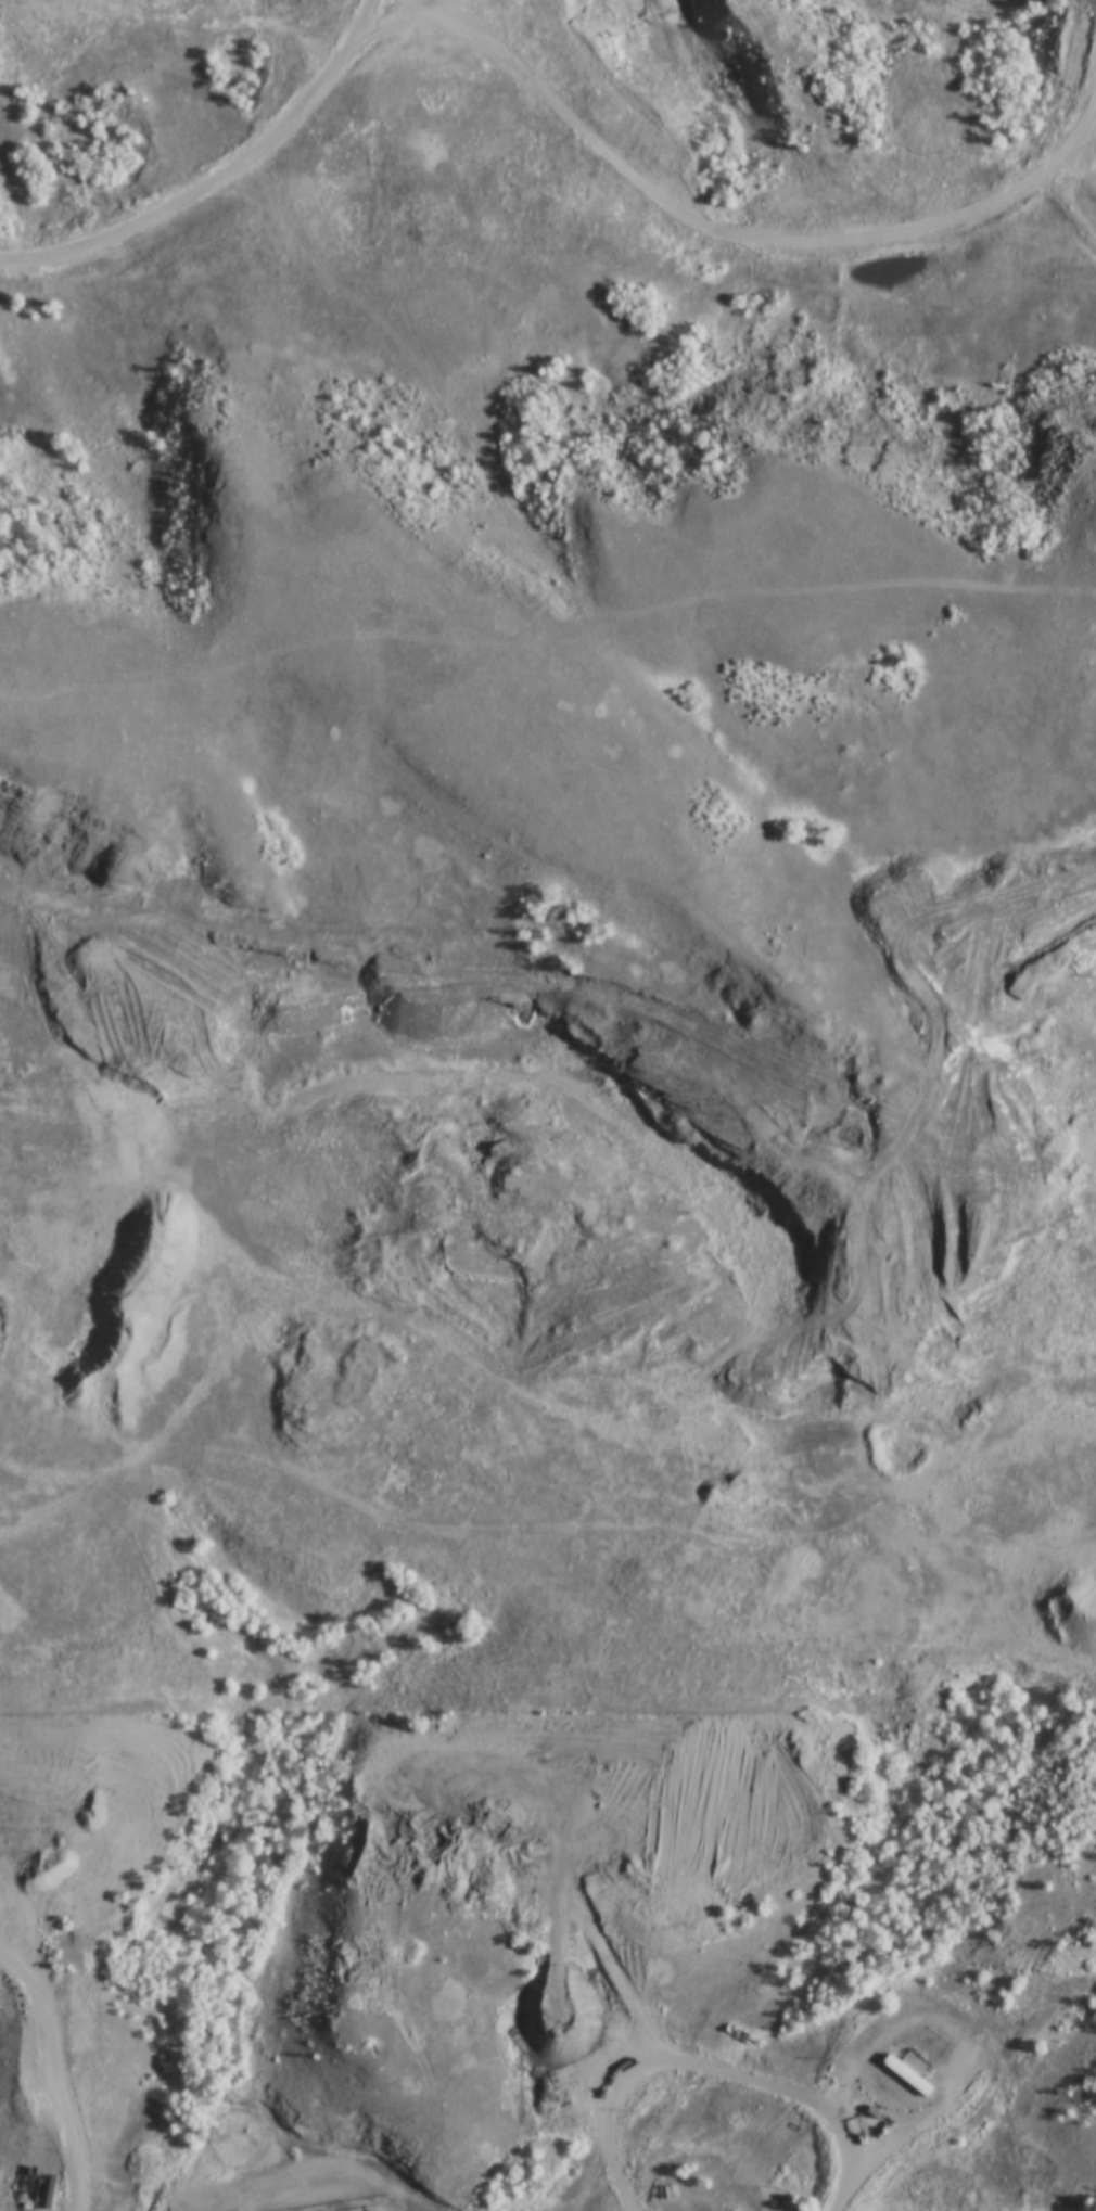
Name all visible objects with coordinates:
road: (391, 1090)
quarry: (296, 1265)

